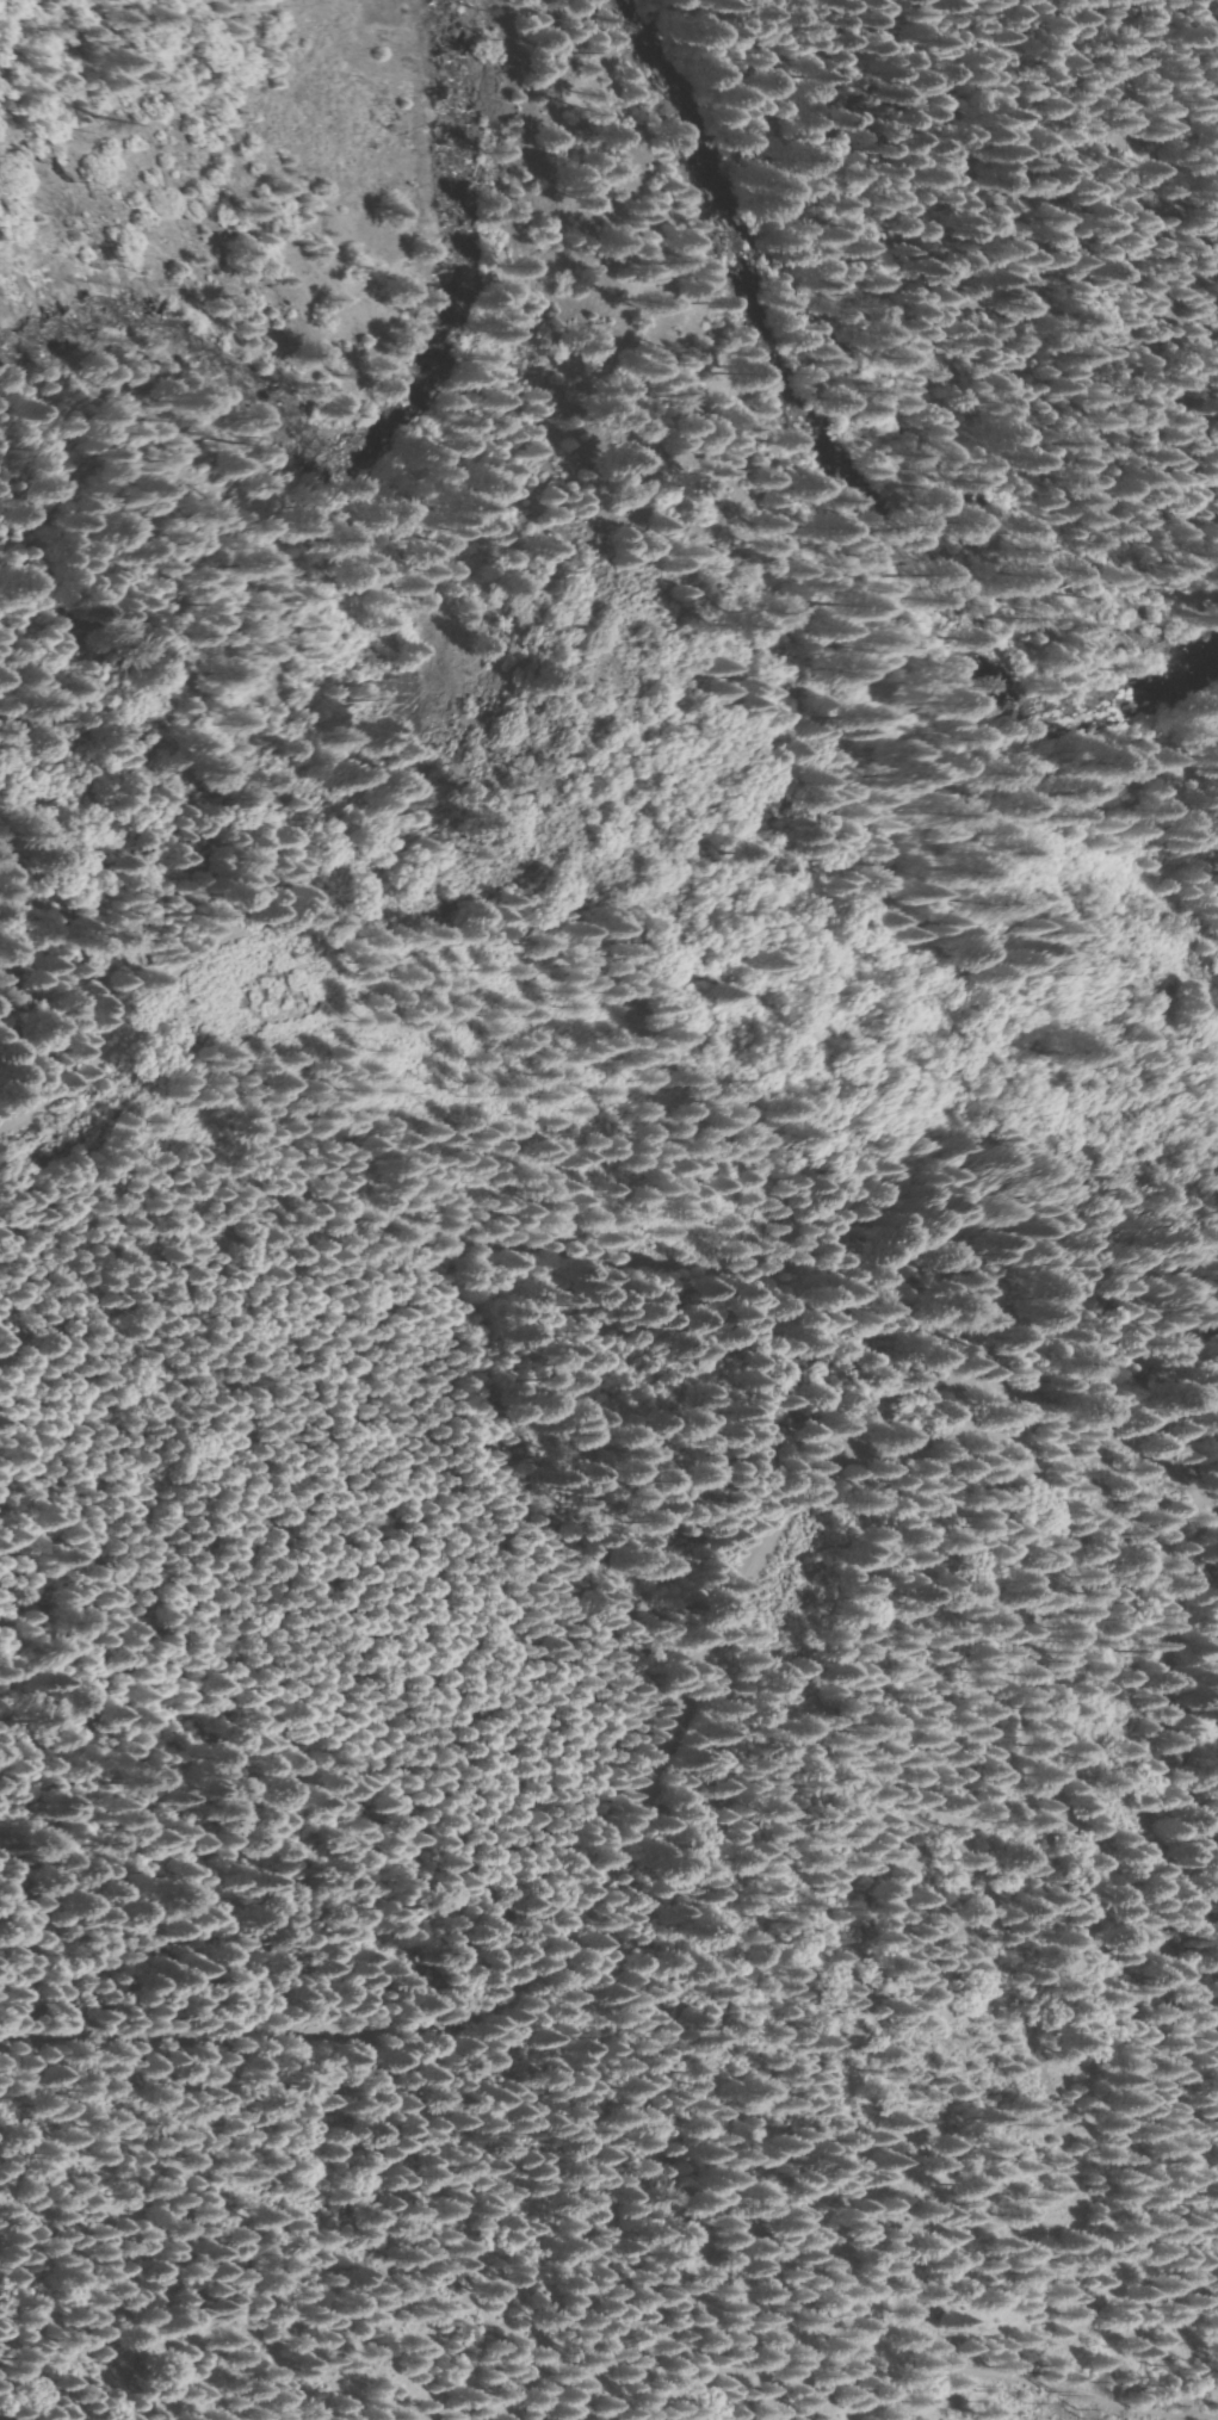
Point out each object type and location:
river: (792, 338)
river: (388, 422)
river: (1099, 730)
road: (1120, 1436)
road: (1182, 1669)
road: (1057, 1769)
road: (608, 1876)
road: (843, 2388)

